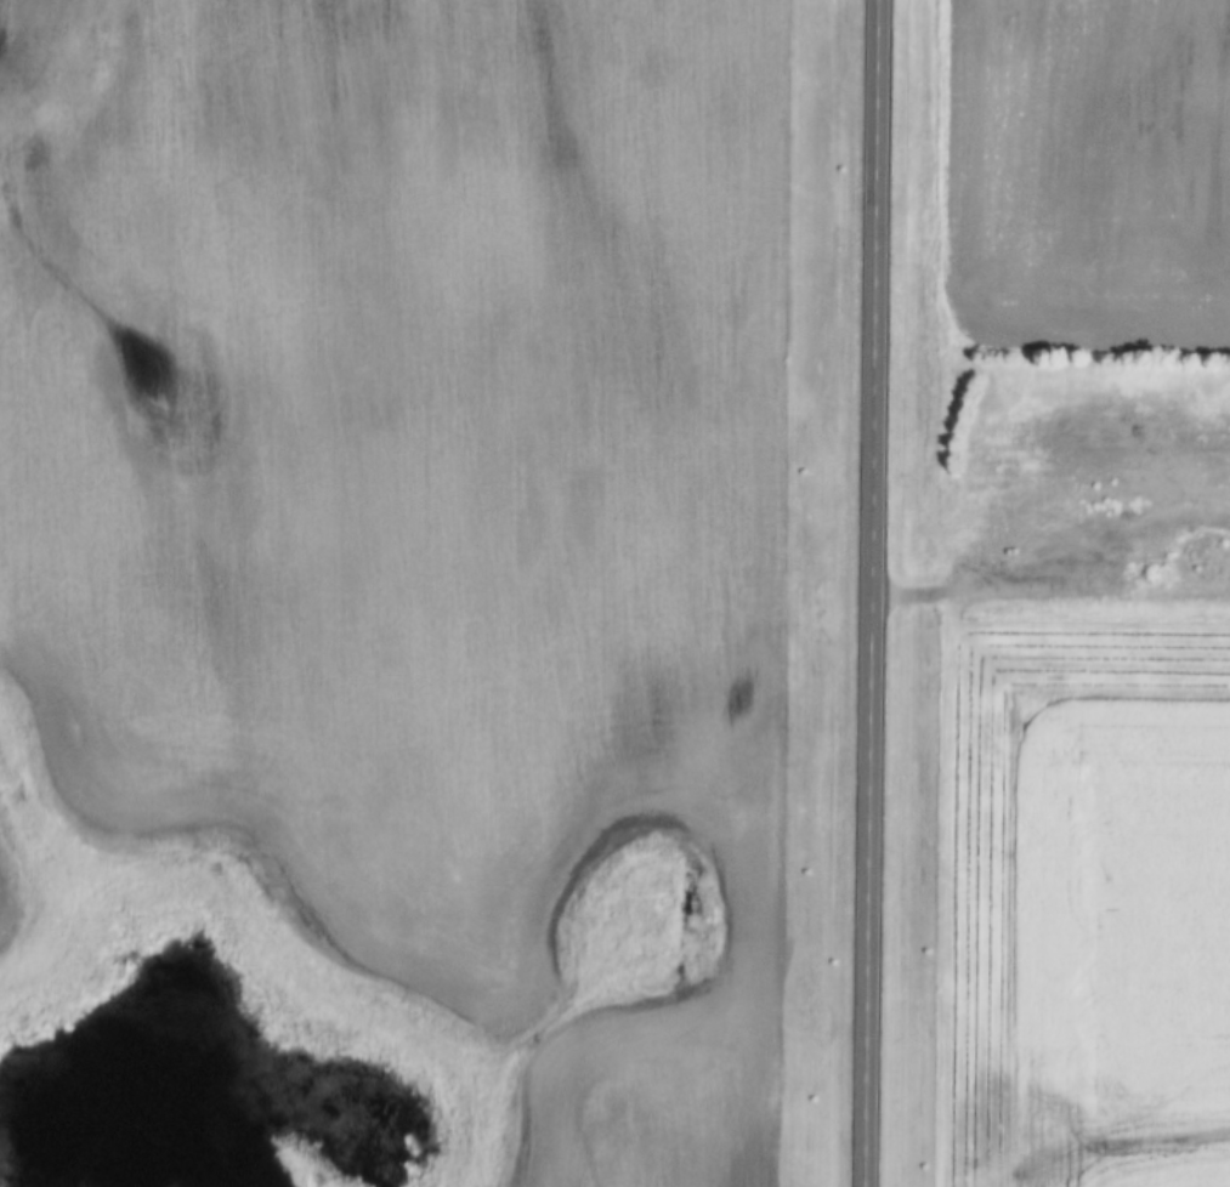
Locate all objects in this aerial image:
road: (852, 592)

